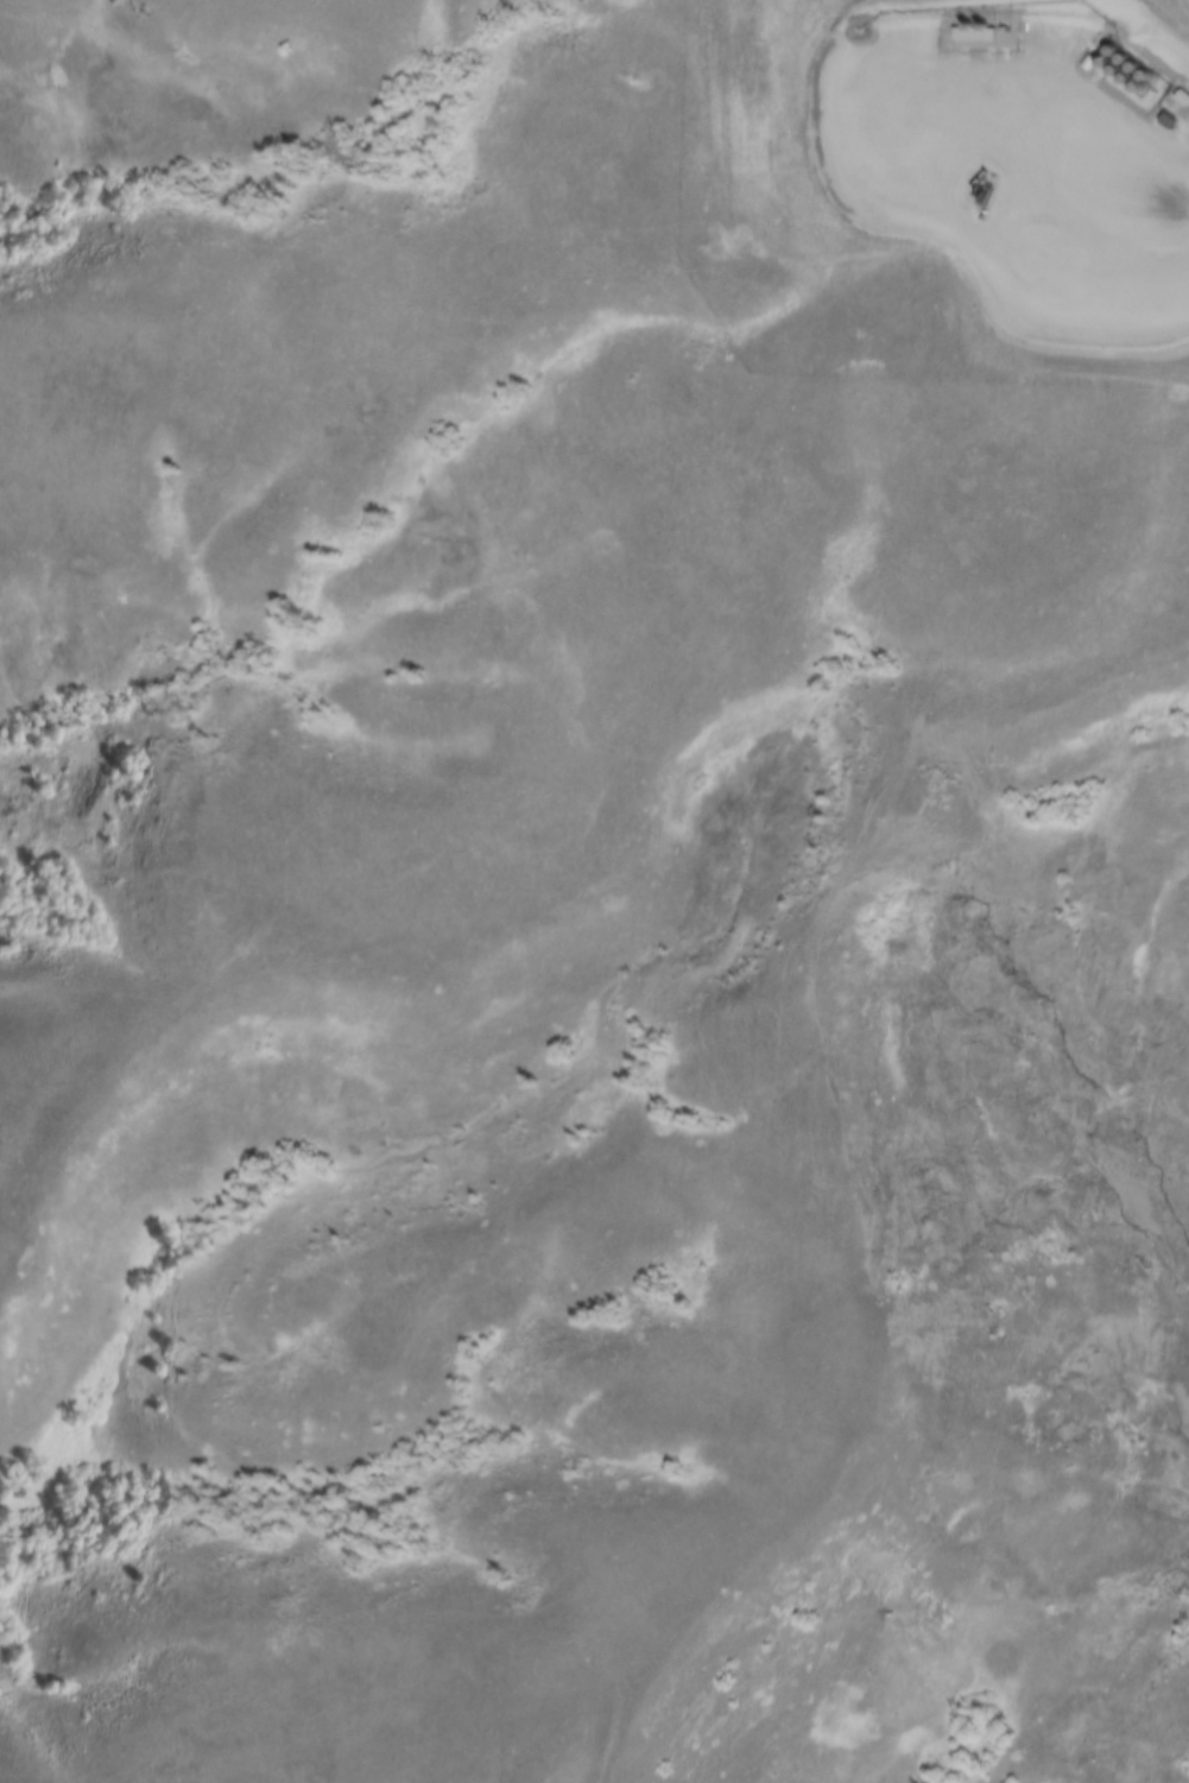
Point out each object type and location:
road: (1081, 285)

